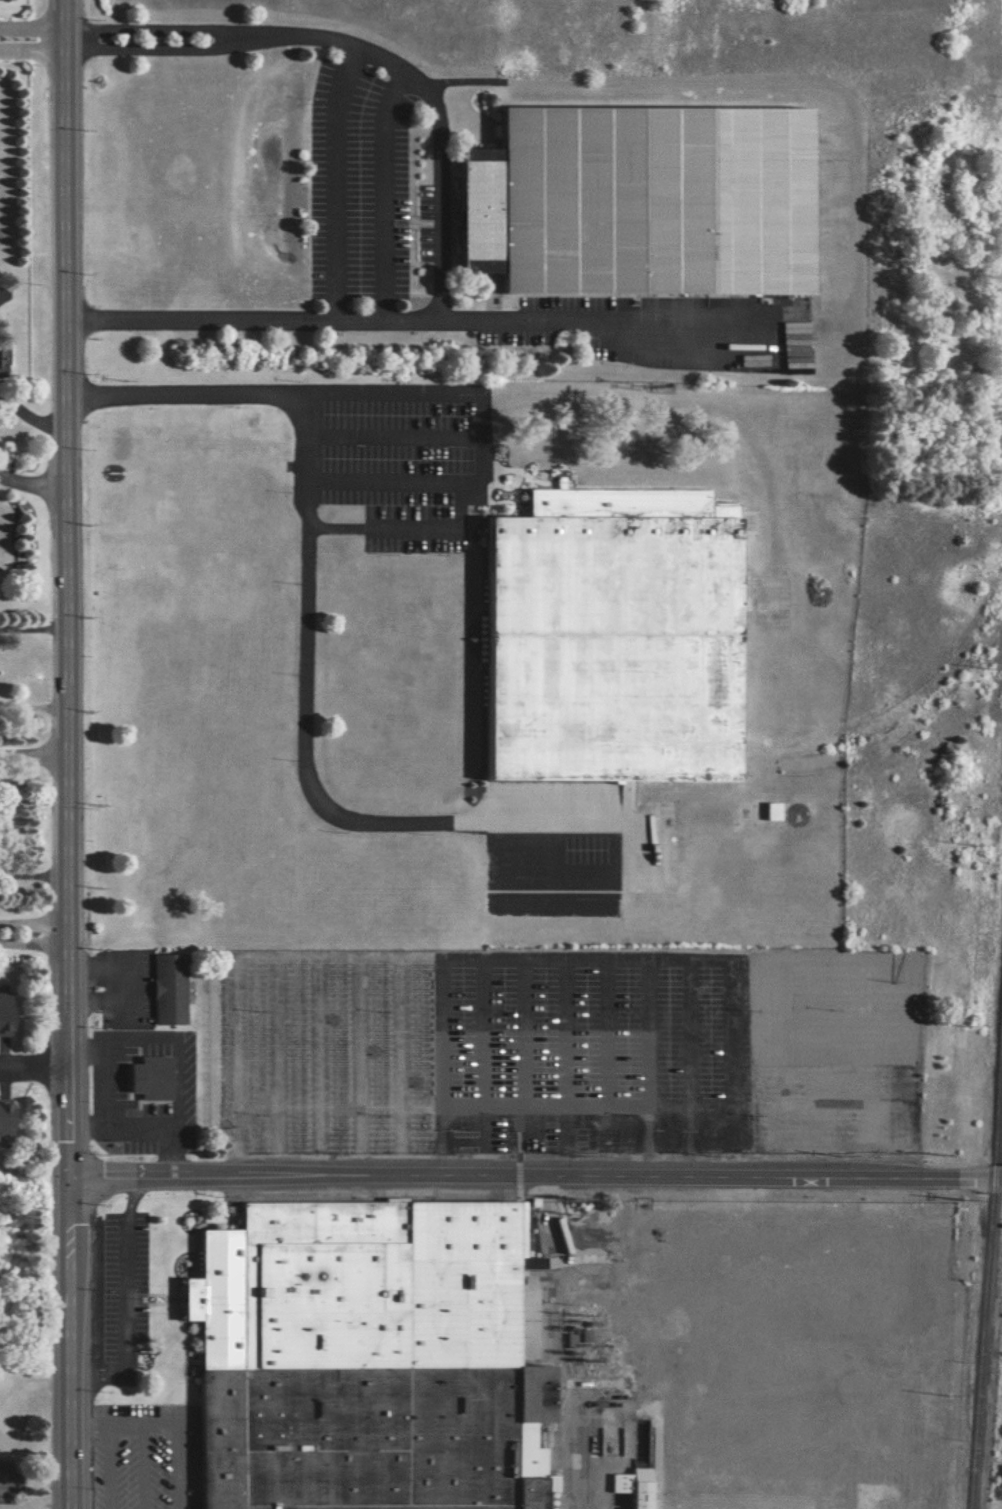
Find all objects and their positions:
road: (222, 35)
road: (81, 44)
road: (33, 47)
building: (491, 220)
building: (774, 252)
road: (444, 273)
building: (3, 356)
road: (486, 453)
road: (34, 486)
building: (691, 532)
building: (532, 554)
road: (68, 587)
road: (33, 629)
road: (310, 629)
road: (34, 759)
road: (33, 936)
road: (120, 985)
building: (166, 988)
building: (3, 1014)
road: (35, 1065)
building: (146, 1078)
building: (3, 1120)
road: (536, 1176)
road: (130, 1195)
railway: (984, 1255)
road: (122, 1321)
road: (72, 1341)
road: (550, 1343)
building: (366, 1353)
road: (123, 1425)
road: (140, 1466)
road: (107, 1467)
road: (173, 1467)
building: (630, 1486)

